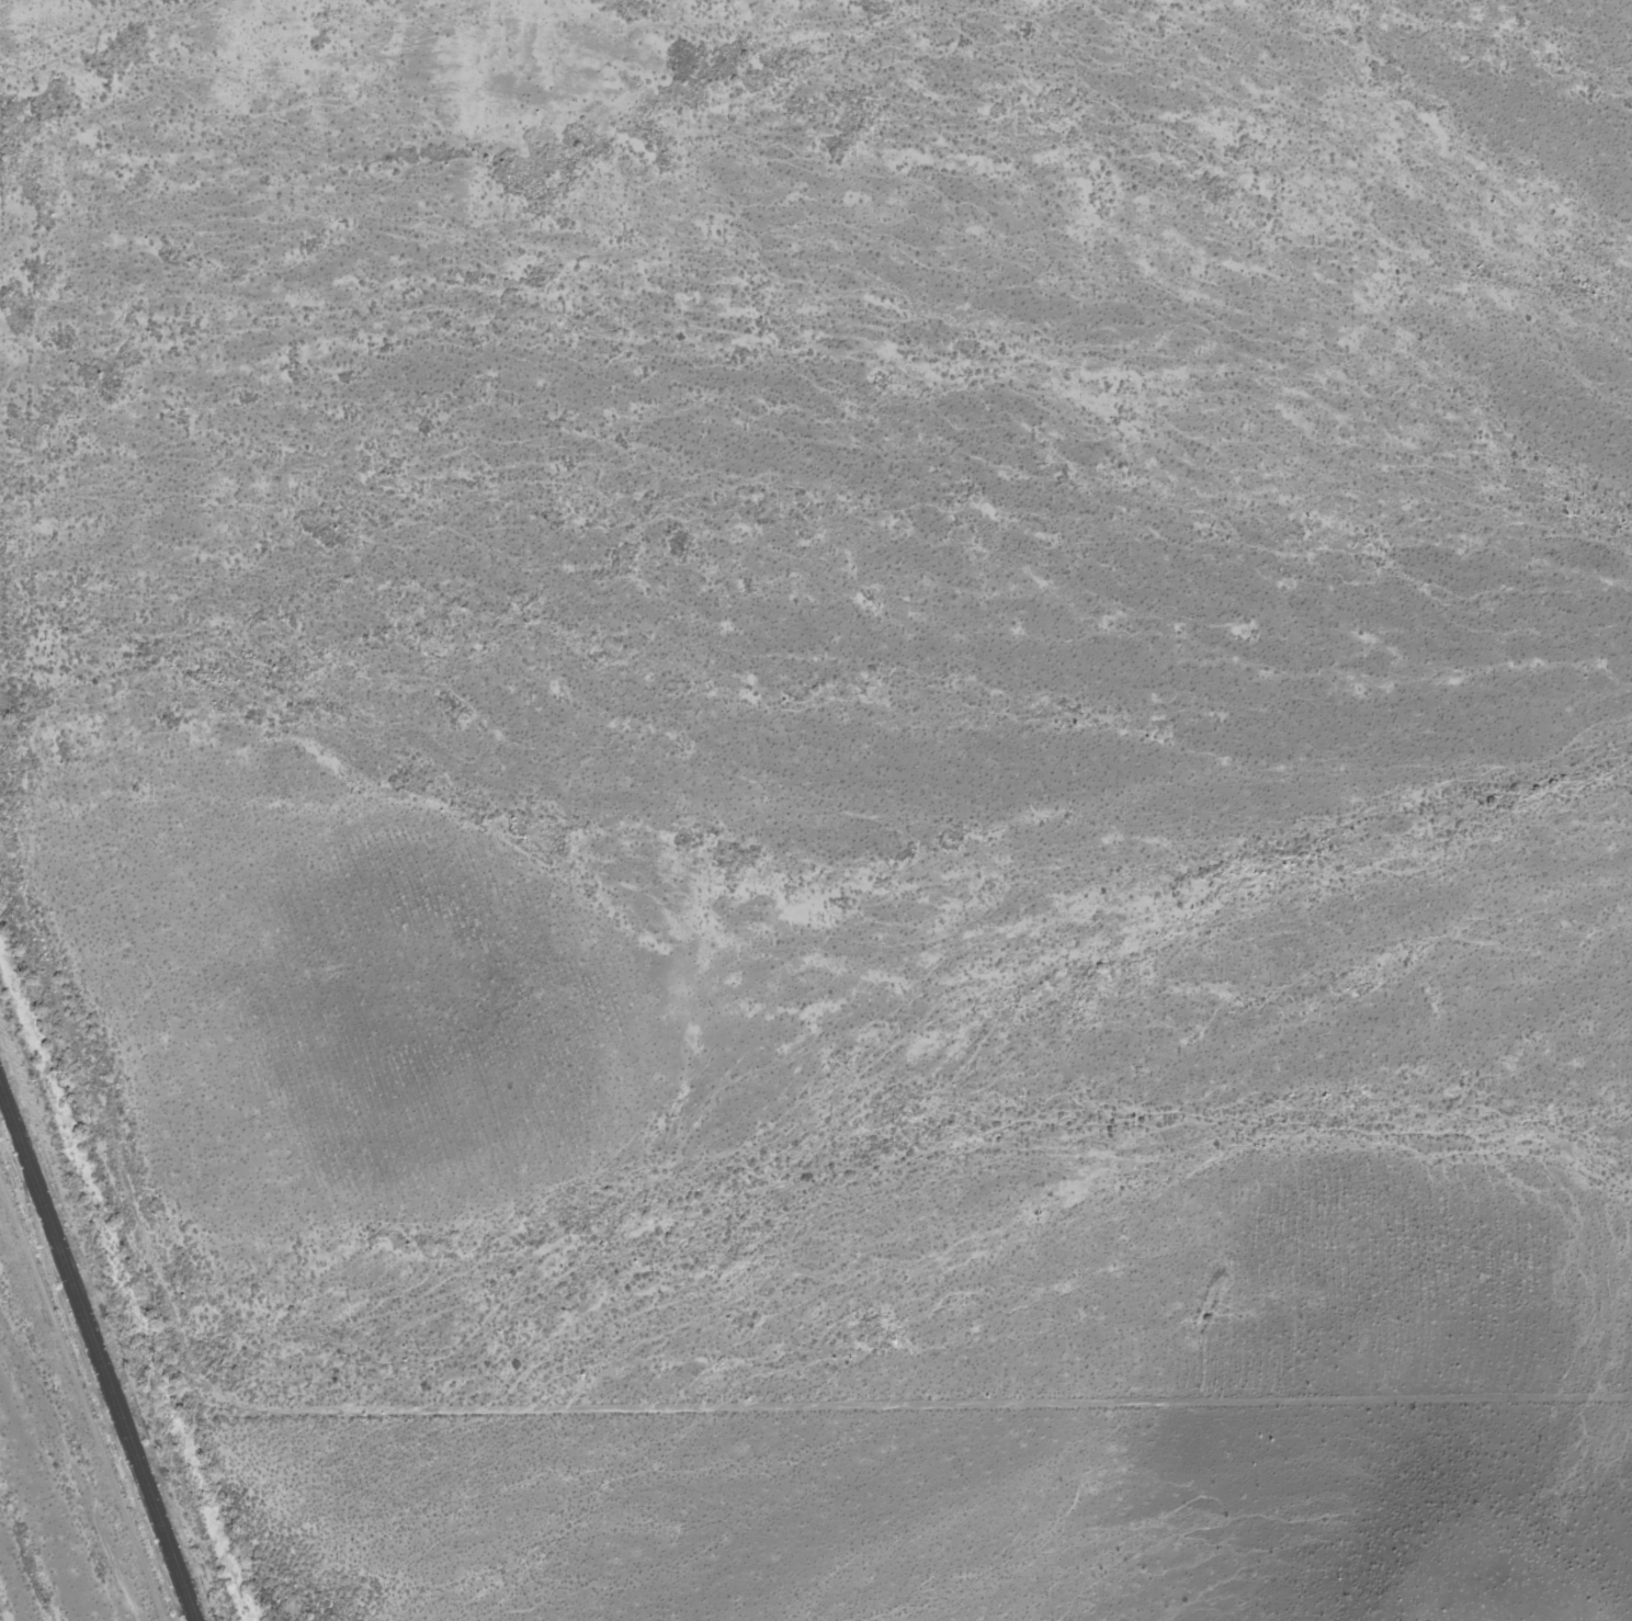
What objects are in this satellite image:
railway: (97, 1357)

